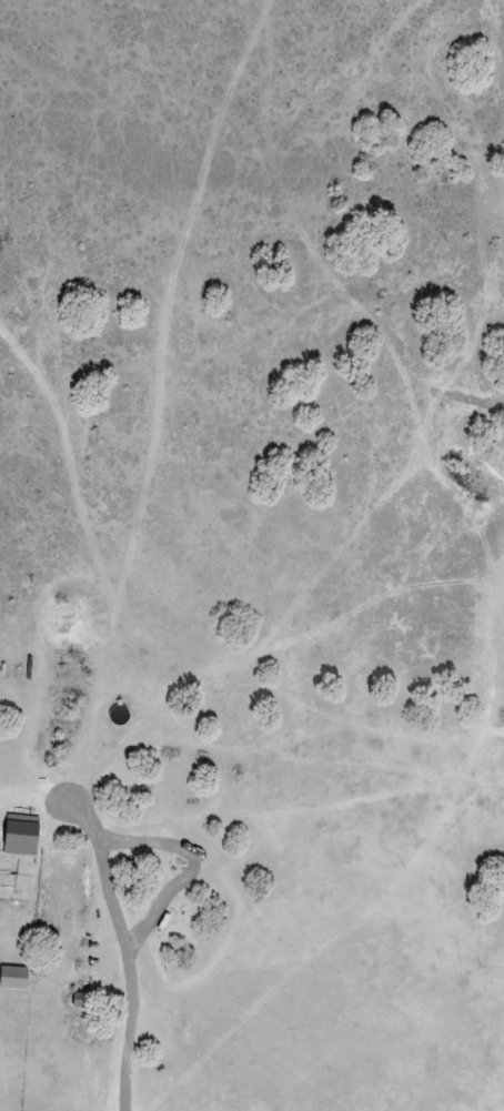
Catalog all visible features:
building: (19, 834)
building: (13, 977)
building: (78, 998)

